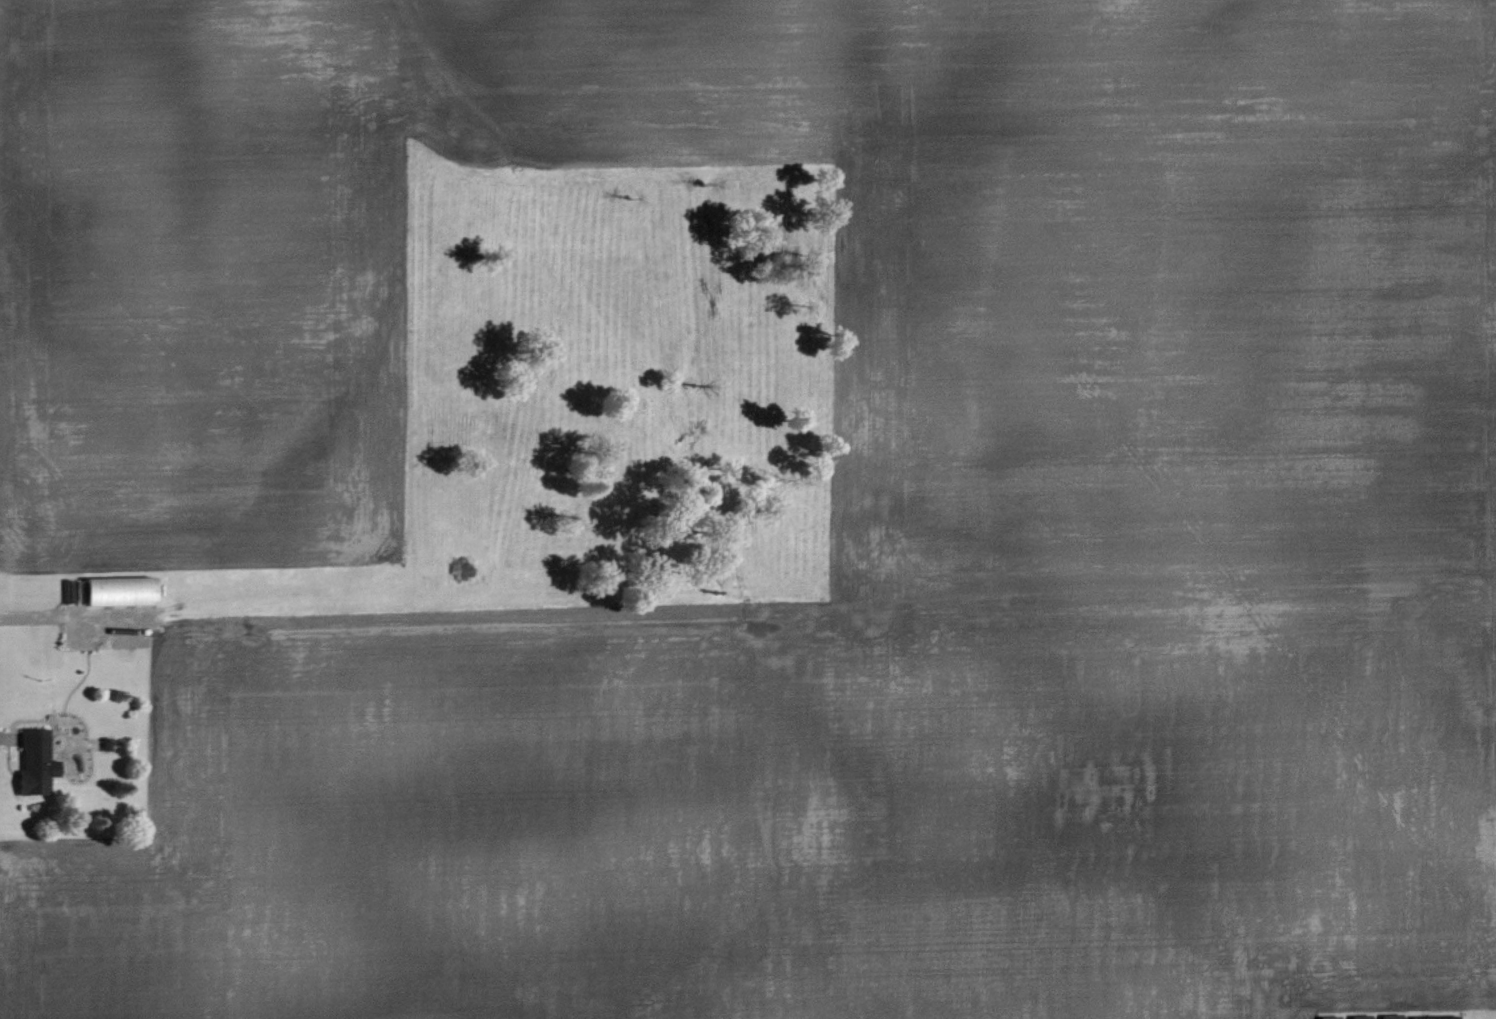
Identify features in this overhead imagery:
building: (121, 591)
building: (36, 763)

